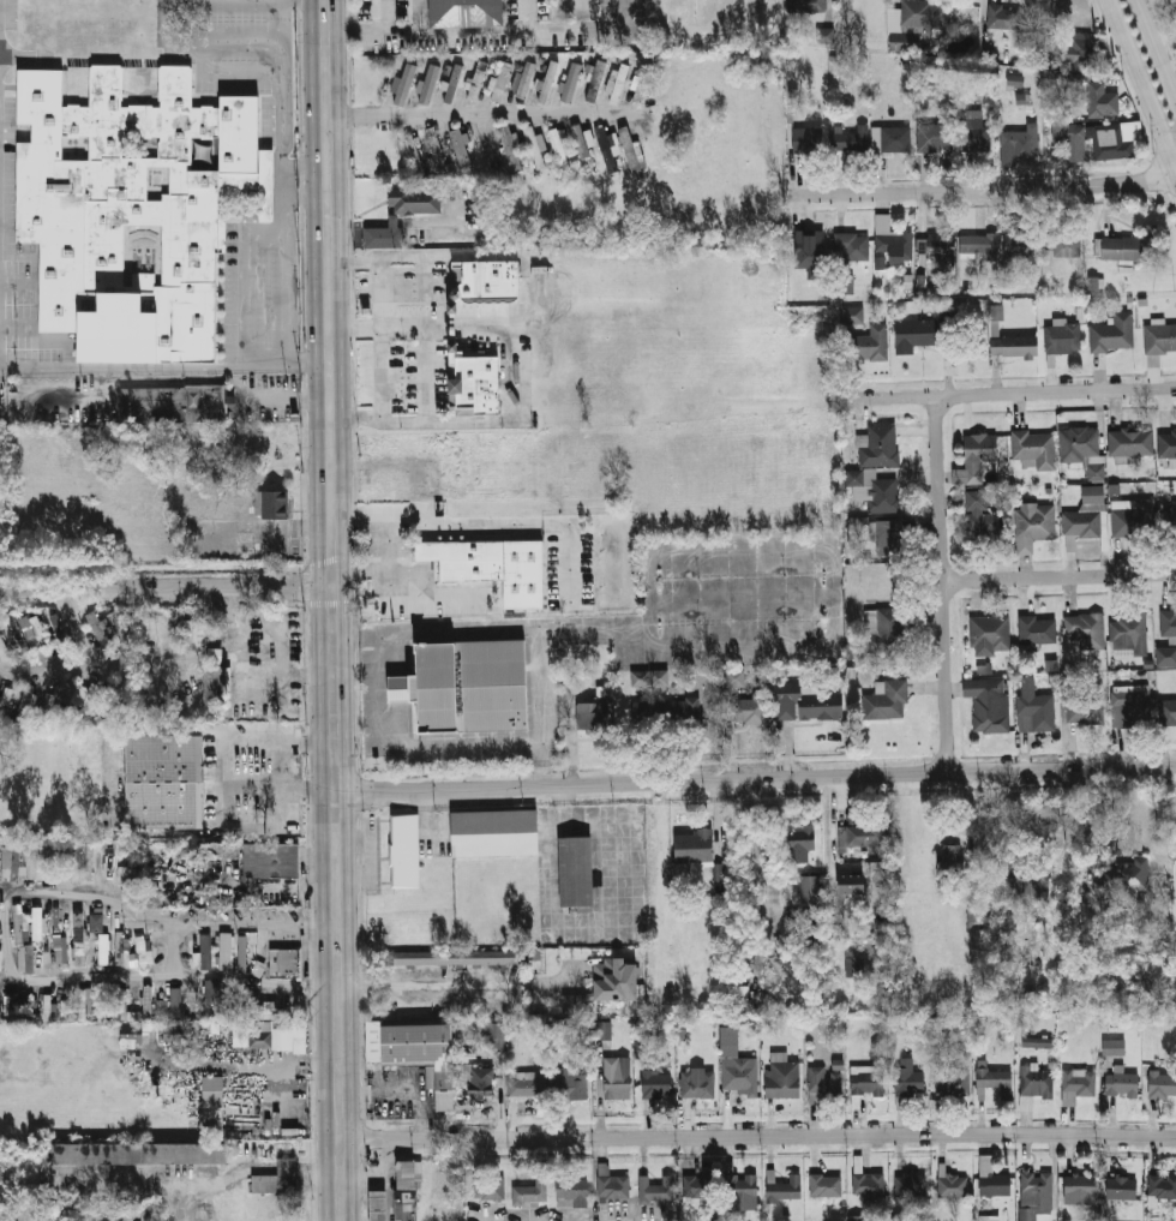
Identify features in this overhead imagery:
building: (806, 6)
building: (467, 13)
building: (925, 14)
road: (526, 16)
building: (1006, 17)
road: (160, 18)
building: (1040, 24)
road: (356, 31)
road: (499, 32)
building: (824, 35)
road: (217, 37)
building: (905, 42)
road: (1156, 50)
building: (1079, 52)
building: (548, 76)
building: (524, 79)
building: (1015, 79)
building: (570, 80)
building: (593, 80)
building: (451, 82)
building: (474, 82)
building: (616, 82)
building: (427, 83)
building: (402, 84)
building: (498, 84)
road: (1144, 85)
building: (1102, 101)
road: (482, 113)
building: (852, 136)
building: (934, 137)
building: (976, 137)
building: (892, 138)
building: (1020, 138)
building: (1069, 138)
building: (582, 139)
building: (808, 140)
building: (1108, 142)
building: (433, 143)
building: (558, 144)
building: (509, 145)
building: (534, 146)
building: (460, 148)
building: (606, 150)
building: (631, 152)
road: (304, 164)
road: (984, 190)
road: (305, 196)
road: (281, 198)
building: (416, 200)
building: (124, 211)
building: (395, 220)
road: (354, 223)
building: (383, 235)
building: (890, 241)
building: (978, 241)
building: (936, 245)
building: (1018, 245)
building: (1064, 245)
building: (852, 246)
building: (809, 247)
building: (1118, 249)
building: (484, 281)
building: (1096, 282)
building: (845, 285)
parking lot: (407, 289)
road: (281, 297)
building: (491, 299)
building: (853, 315)
road: (522, 322)
road: (424, 325)
building: (1112, 333)
building: (916, 334)
road: (380, 336)
building: (1159, 337)
building: (1062, 340)
building: (870, 343)
building: (1013, 346)
road: (140, 366)
parking lot: (406, 375)
parking lot: (277, 383)
building: (474, 384)
road: (1019, 394)
road: (287, 397)
building: (173, 402)
parking lot: (264, 409)
building: (1130, 442)
building: (1166, 443)
building: (877, 445)
building: (980, 448)
building: (1034, 449)
building: (1082, 449)
road: (420, 484)
building: (872, 489)
building: (1093, 495)
building: (272, 505)
building: (1170, 516)
building: (982, 517)
building: (1136, 517)
building: (1081, 525)
building: (1033, 526)
building: (889, 532)
building: (428, 551)
road: (738, 553)
building: (474, 561)
road: (386, 562)
road: (404, 568)
road: (180, 575)
road: (1058, 577)
road: (942, 585)
road: (166, 586)
road: (432, 595)
road: (739, 597)
parking lot: (739, 599)
road: (830, 599)
road: (649, 600)
road: (334, 610)
building: (1168, 624)
building: (116, 626)
road: (492, 628)
building: (32, 629)
building: (884, 630)
building: (1037, 630)
building: (1084, 630)
building: (1128, 630)
building: (59, 632)
building: (98, 632)
building: (17, 633)
building: (193, 634)
building: (989, 634)
road: (742, 645)
building: (4, 650)
building: (214, 654)
building: (1166, 656)
building: (984, 669)
building: (734, 677)
building: (640, 678)
building: (215, 686)
building: (472, 686)
building: (400, 689)
building: (78, 693)
building: (5, 699)
building: (46, 699)
building: (886, 701)
building: (25, 702)
building: (988, 704)
building: (803, 705)
building: (1132, 707)
building: (1034, 708)
building: (749, 711)
building: (1084, 711)
building: (1168, 712)
building: (689, 713)
building: (589, 716)
road: (755, 778)
road: (116, 779)
building: (162, 783)
road: (278, 785)
road: (220, 796)
road: (828, 824)
building: (497, 834)
building: (863, 838)
road: (362, 842)
building: (798, 843)
building: (692, 848)
building: (408, 851)
building: (10, 861)
building: (84, 861)
building: (272, 861)
building: (40, 862)
building: (66, 862)
building: (947, 862)
building: (107, 868)
building: (127, 870)
building: (877, 872)
building: (576, 873)
building: (1127, 874)
building: (850, 884)
building: (1026, 885)
road: (283, 886)
building: (809, 892)
building: (972, 916)
building: (38, 920)
road: (256, 920)
building: (18, 922)
building: (95, 922)
road: (4, 929)
building: (78, 938)
building: (121, 941)
road: (174, 947)
building: (60, 948)
building: (102, 948)
building: (224, 950)
building: (204, 951)
building: (140, 952)
building: (1159, 952)
building: (241, 953)
building: (0, 957)
building: (24, 958)
building: (455, 959)
building: (286, 963)
building: (257, 968)
building: (852, 968)
road: (224, 974)
road: (306, 982)
road: (461, 983)
building: (605, 986)
building: (212, 990)
building: (146, 1000)
building: (175, 1002)
building: (10, 1004)
building: (82, 1004)
building: (47, 1006)
building: (160, 1006)
building: (1003, 1019)
building: (686, 1029)
building: (173, 1031)
building: (606, 1033)
building: (239, 1034)
building: (130, 1035)
building: (494, 1035)
building: (281, 1036)
building: (1039, 1045)
building: (640, 1049)
building: (418, 1051)
building: (1115, 1051)
building: (737, 1065)
building: (870, 1075)
building: (908, 1077)
building: (781, 1078)
building: (619, 1079)
building: (826, 1081)
building: (952, 1081)
building: (996, 1081)
building: (482, 1082)
building: (571, 1083)
building: (658, 1083)
building: (698, 1083)
building: (1076, 1084)
building: (1122, 1084)
building: (1163, 1084)
building: (1036, 1085)
building: (528, 1087)
building: (214, 1103)
road: (757, 1136)
building: (138, 1151)
road: (288, 1167)
road: (318, 1168)
building: (277, 1177)
building: (992, 1178)
road: (173, 1181)
building: (950, 1183)
building: (868, 1184)
building: (911, 1184)
building: (612, 1185)
building: (826, 1185)
building: (1162, 1186)
building: (1122, 1187)
building: (407, 1189)
building: (490, 1189)
building: (743, 1189)
building: (787, 1189)
building: (654, 1190)
building: (1081, 1190)
building: (575, 1192)
building: (700, 1192)
building: (532, 1193)
building: (1036, 1193)
building: (377, 1205)
building: (127, 1217)
building: (857, 1217)
building: (988, 1217)

